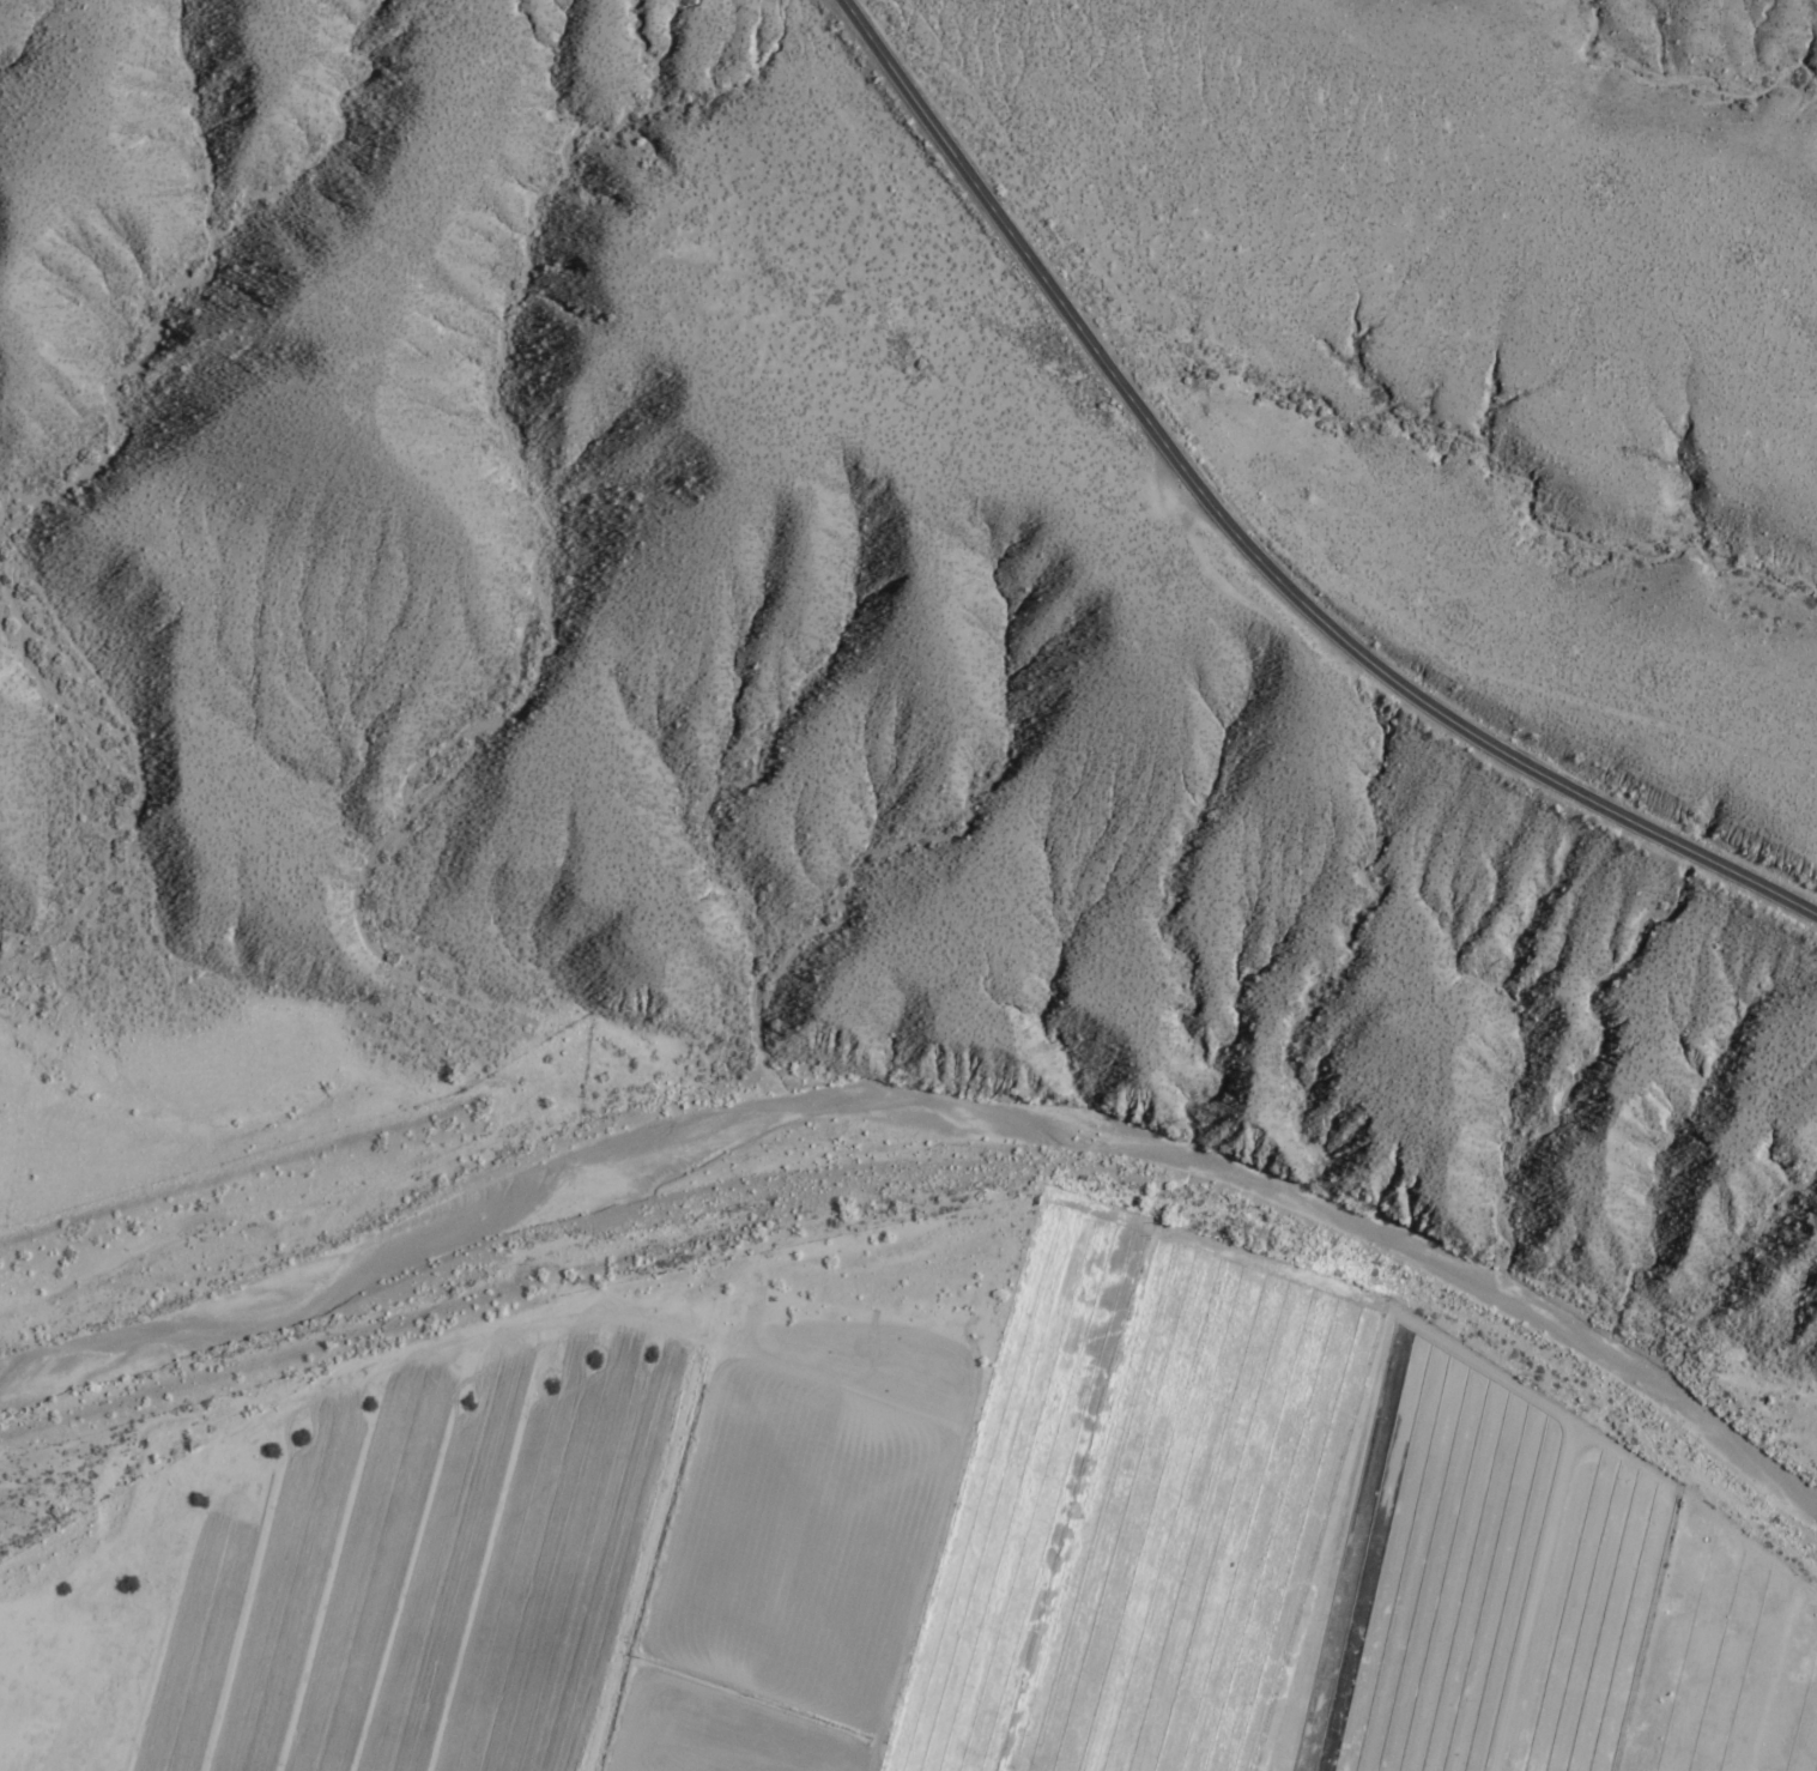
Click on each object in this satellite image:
road: (1246, 550)

